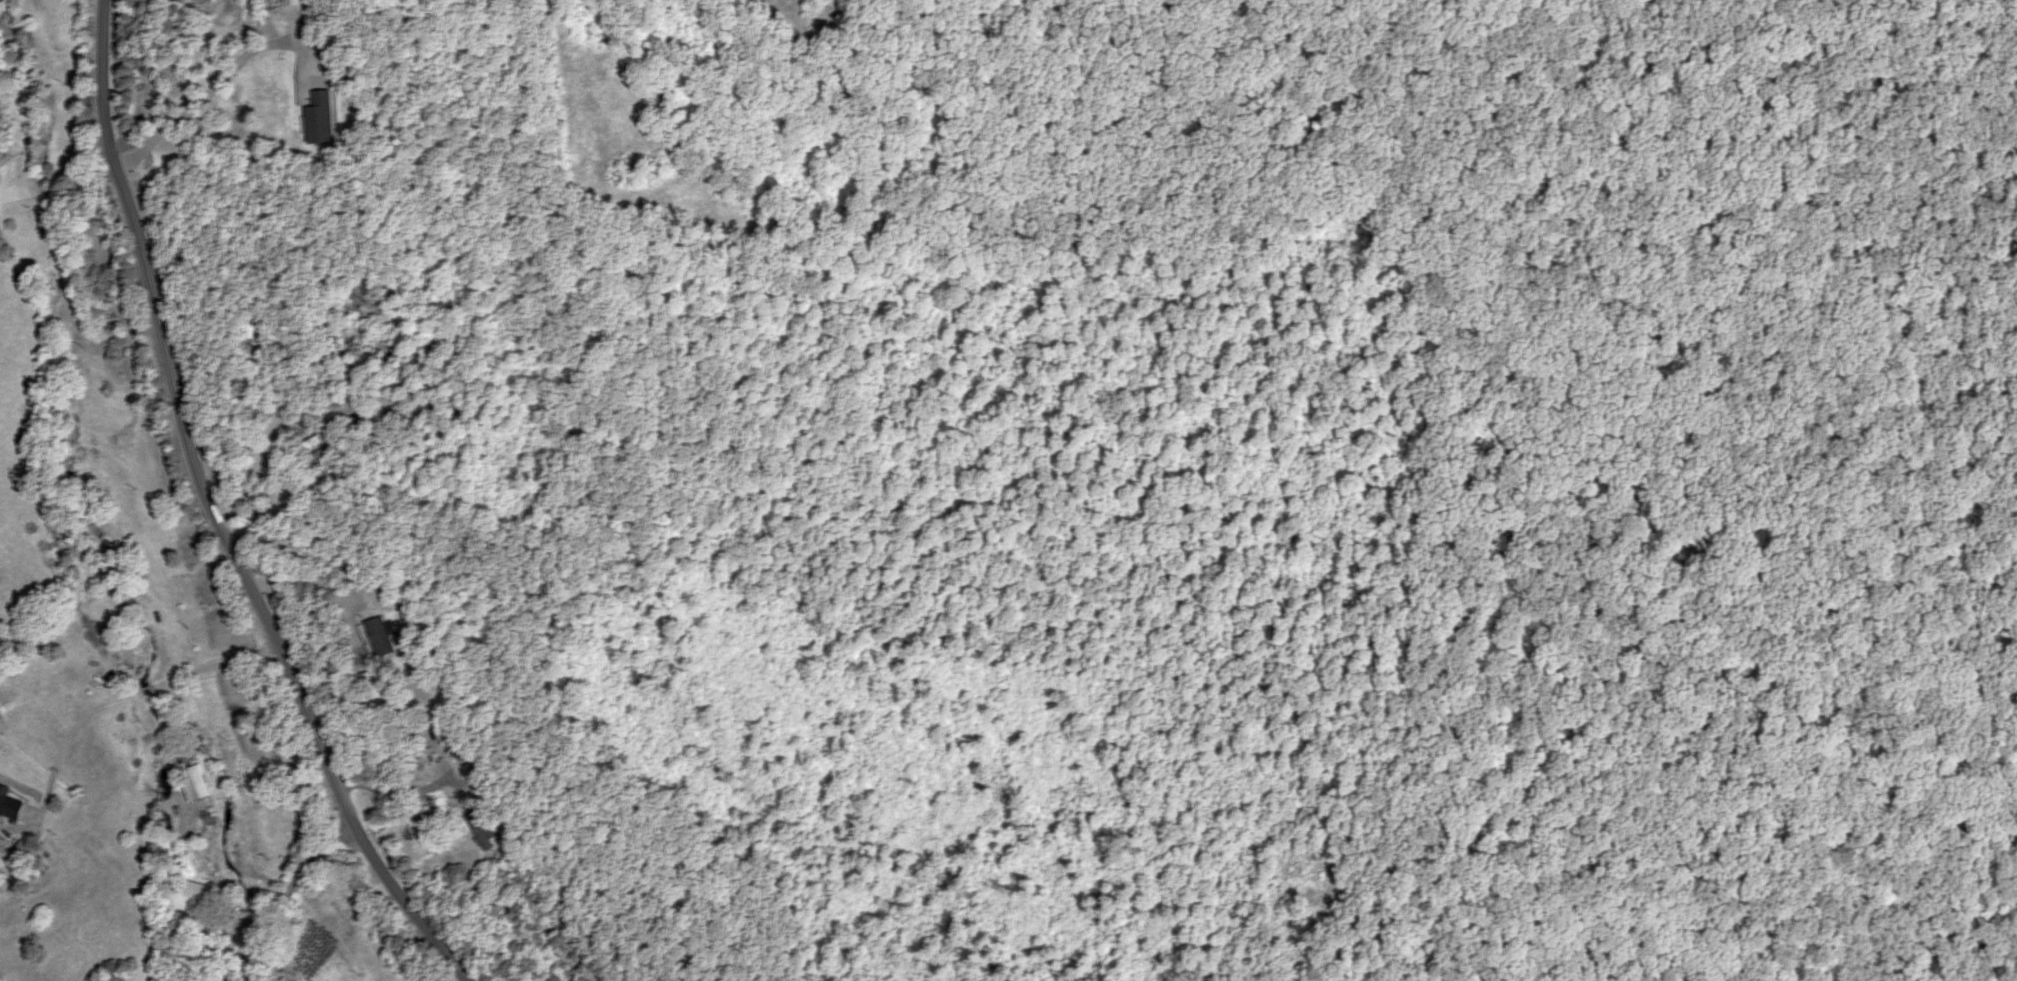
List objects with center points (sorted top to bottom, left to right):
road: (2016, 14)
road: (2011, 44)
building: (321, 118)
building: (252, 332)
road: (342, 362)
road: (510, 475)
park: (1730, 490)
road: (215, 514)
building: (382, 636)
building: (373, 685)
road: (933, 783)
building: (196, 784)
building: (10, 804)
road: (1802, 825)
road: (1006, 913)

